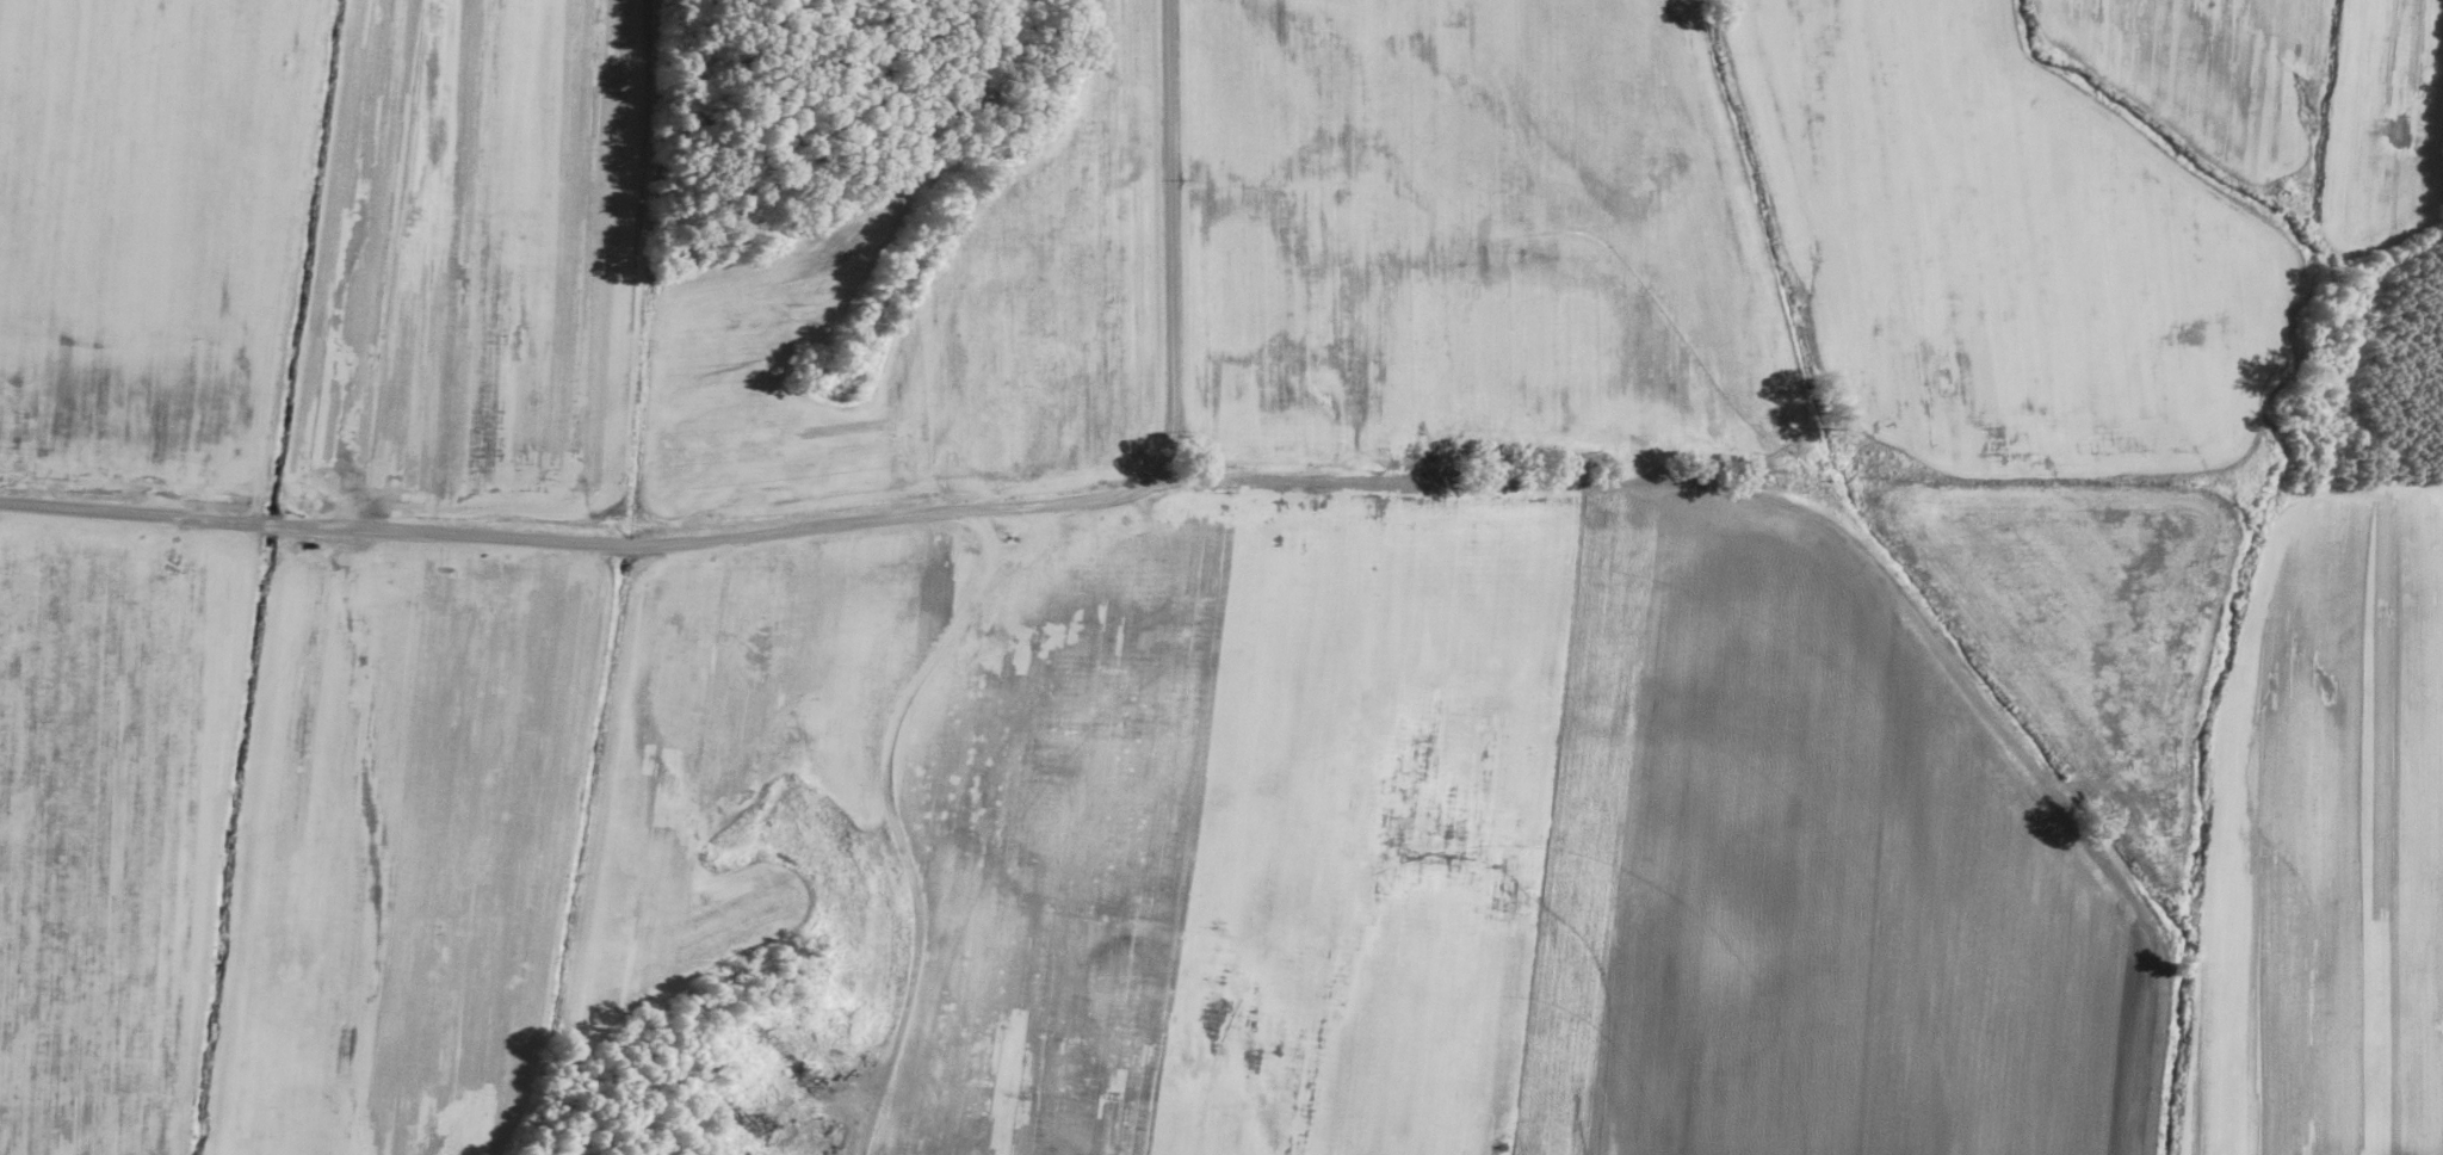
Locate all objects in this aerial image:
road: (1169, 247)
road: (585, 537)

